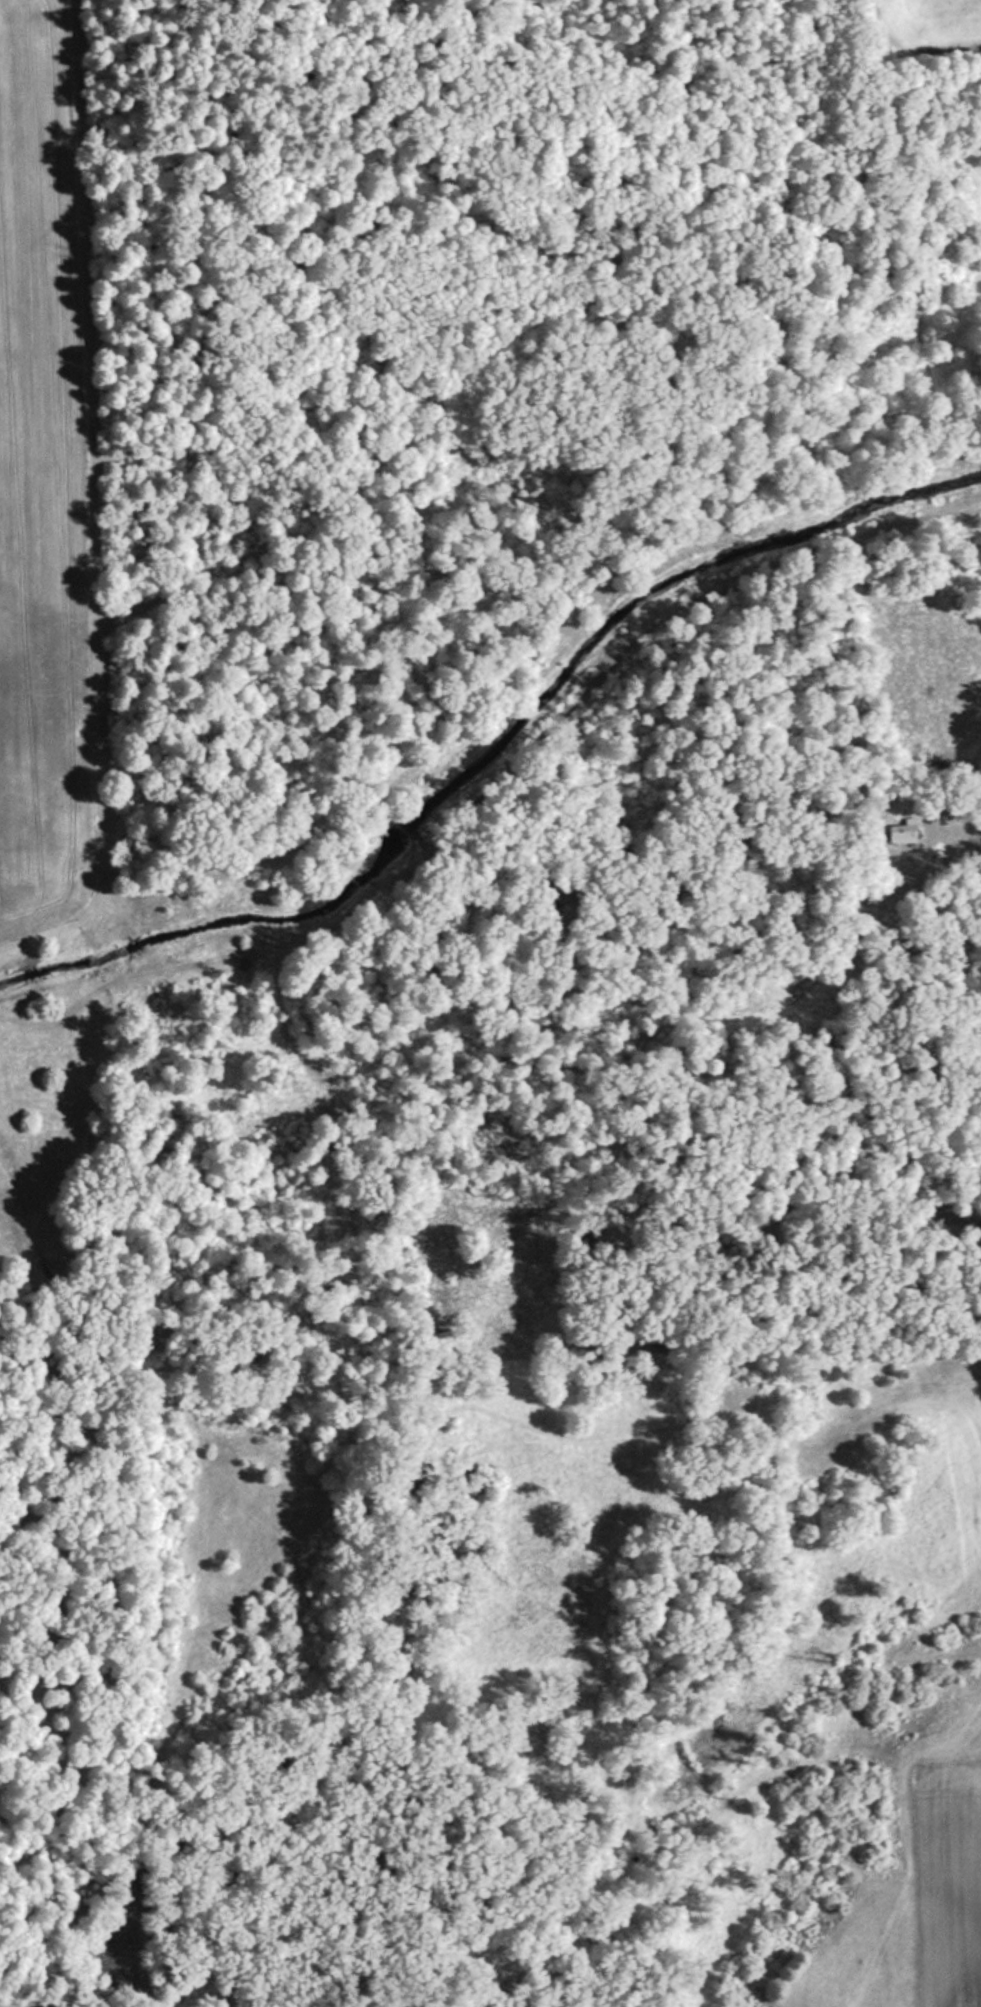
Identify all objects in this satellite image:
building: (900, 829)

